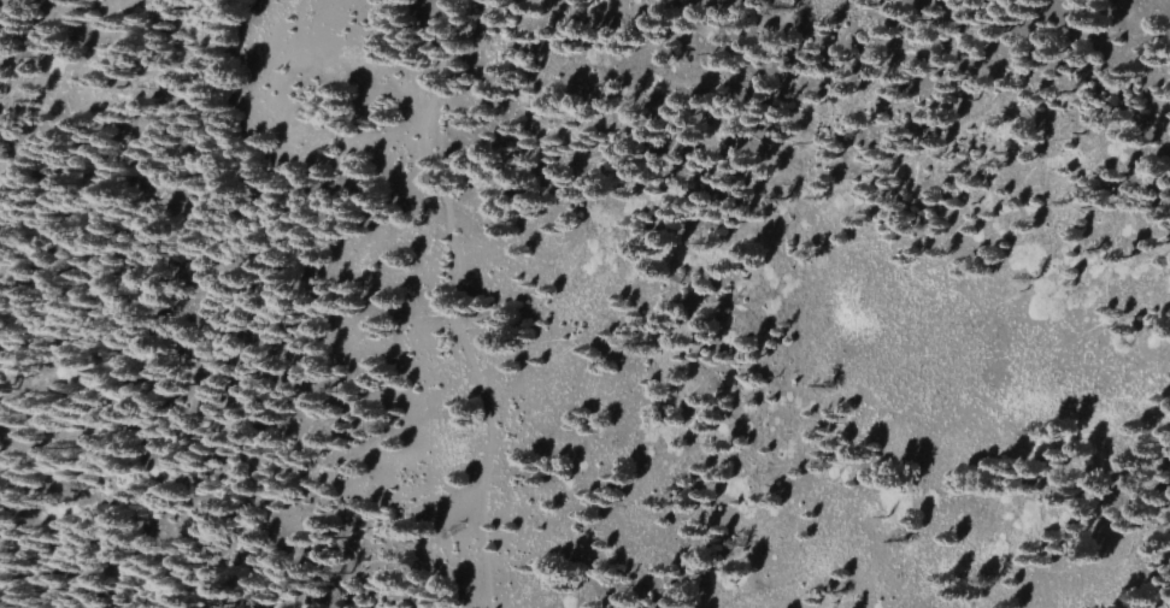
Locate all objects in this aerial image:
road: (449, 302)

